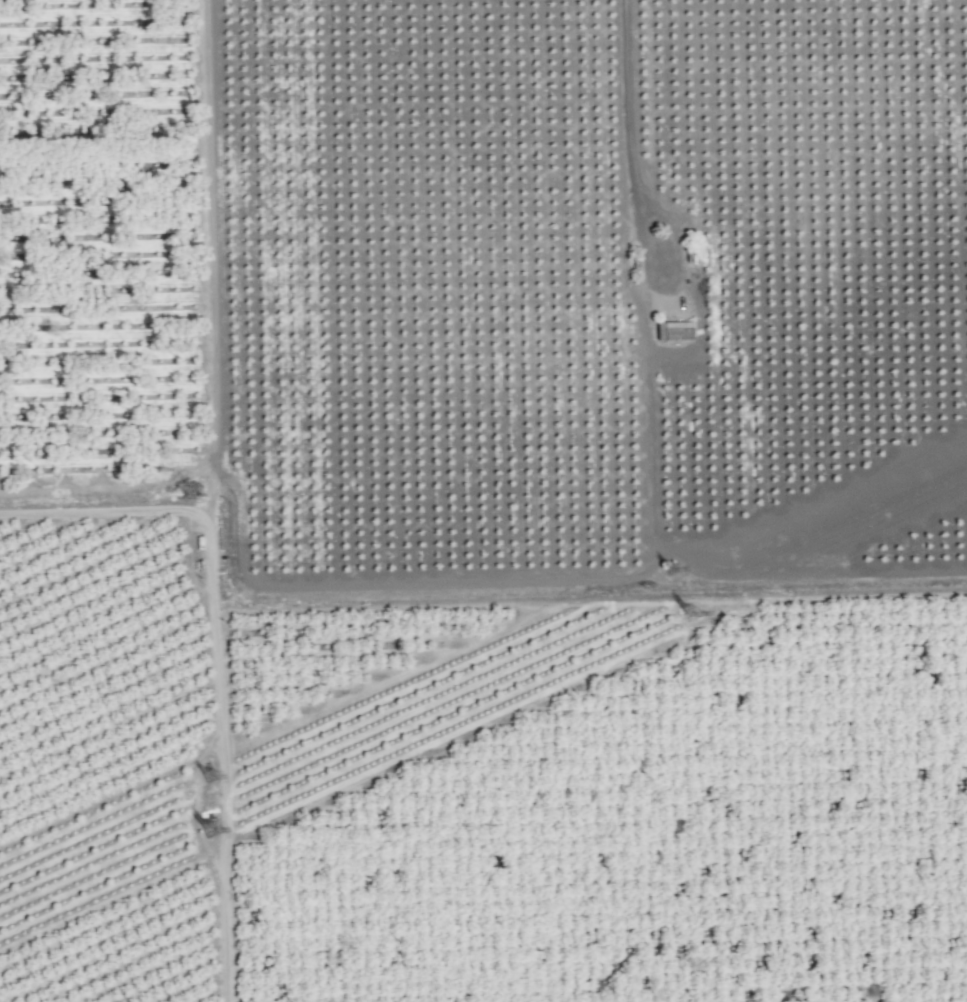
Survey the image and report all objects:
road: (633, 143)
power tower: (666, 574)
power tower: (685, 617)
power tower: (208, 782)
power tower: (204, 832)

